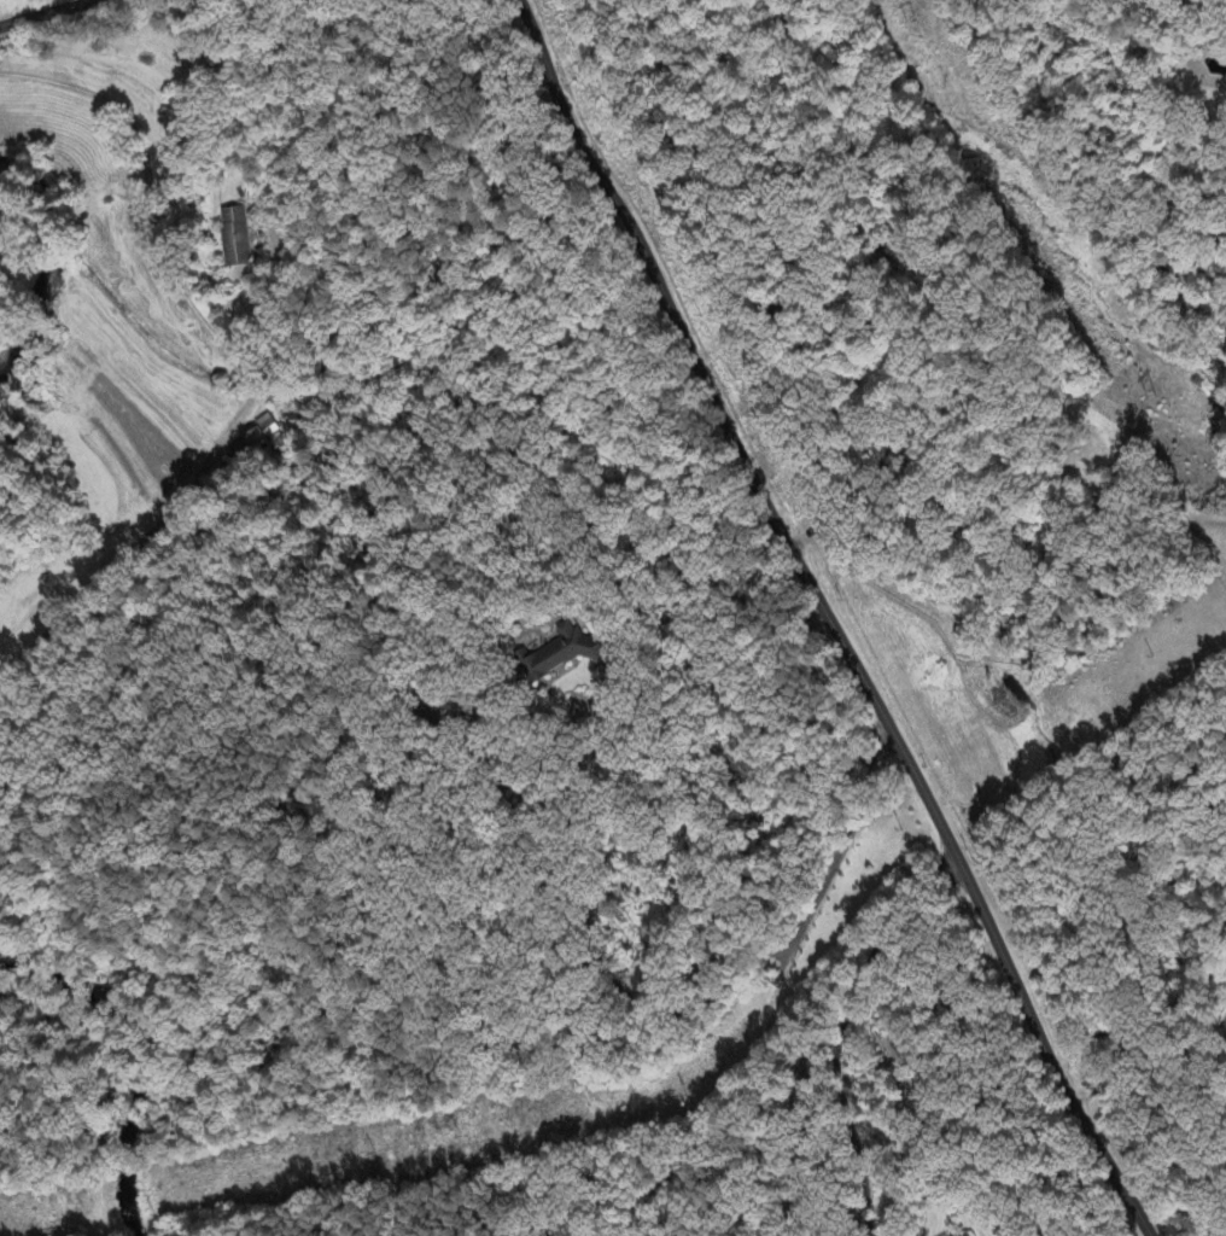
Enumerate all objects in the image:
road: (39, 12)
power tower: (915, 19)
road: (234, 362)
power tower: (1149, 396)
road: (839, 614)
road: (627, 998)
road: (841, 1027)
road: (49, 1132)

